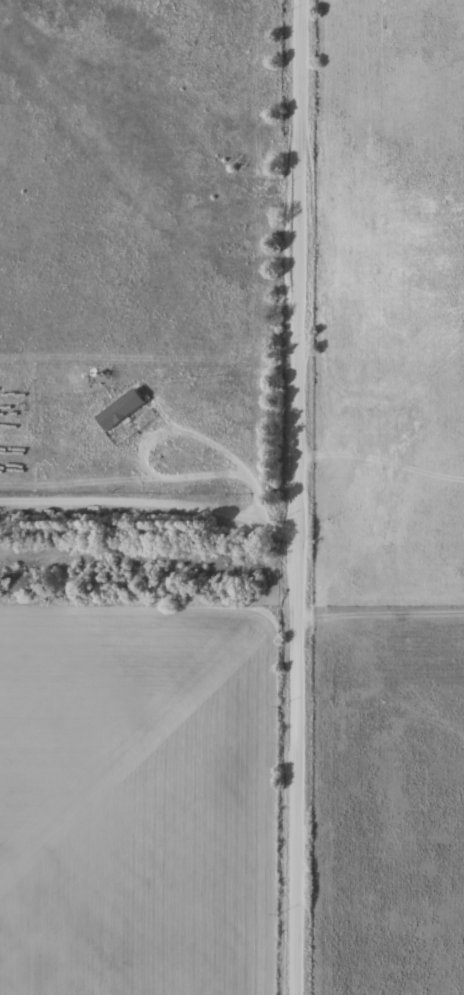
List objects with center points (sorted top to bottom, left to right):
building: (331, 486)
road: (304, 497)
road: (152, 508)

